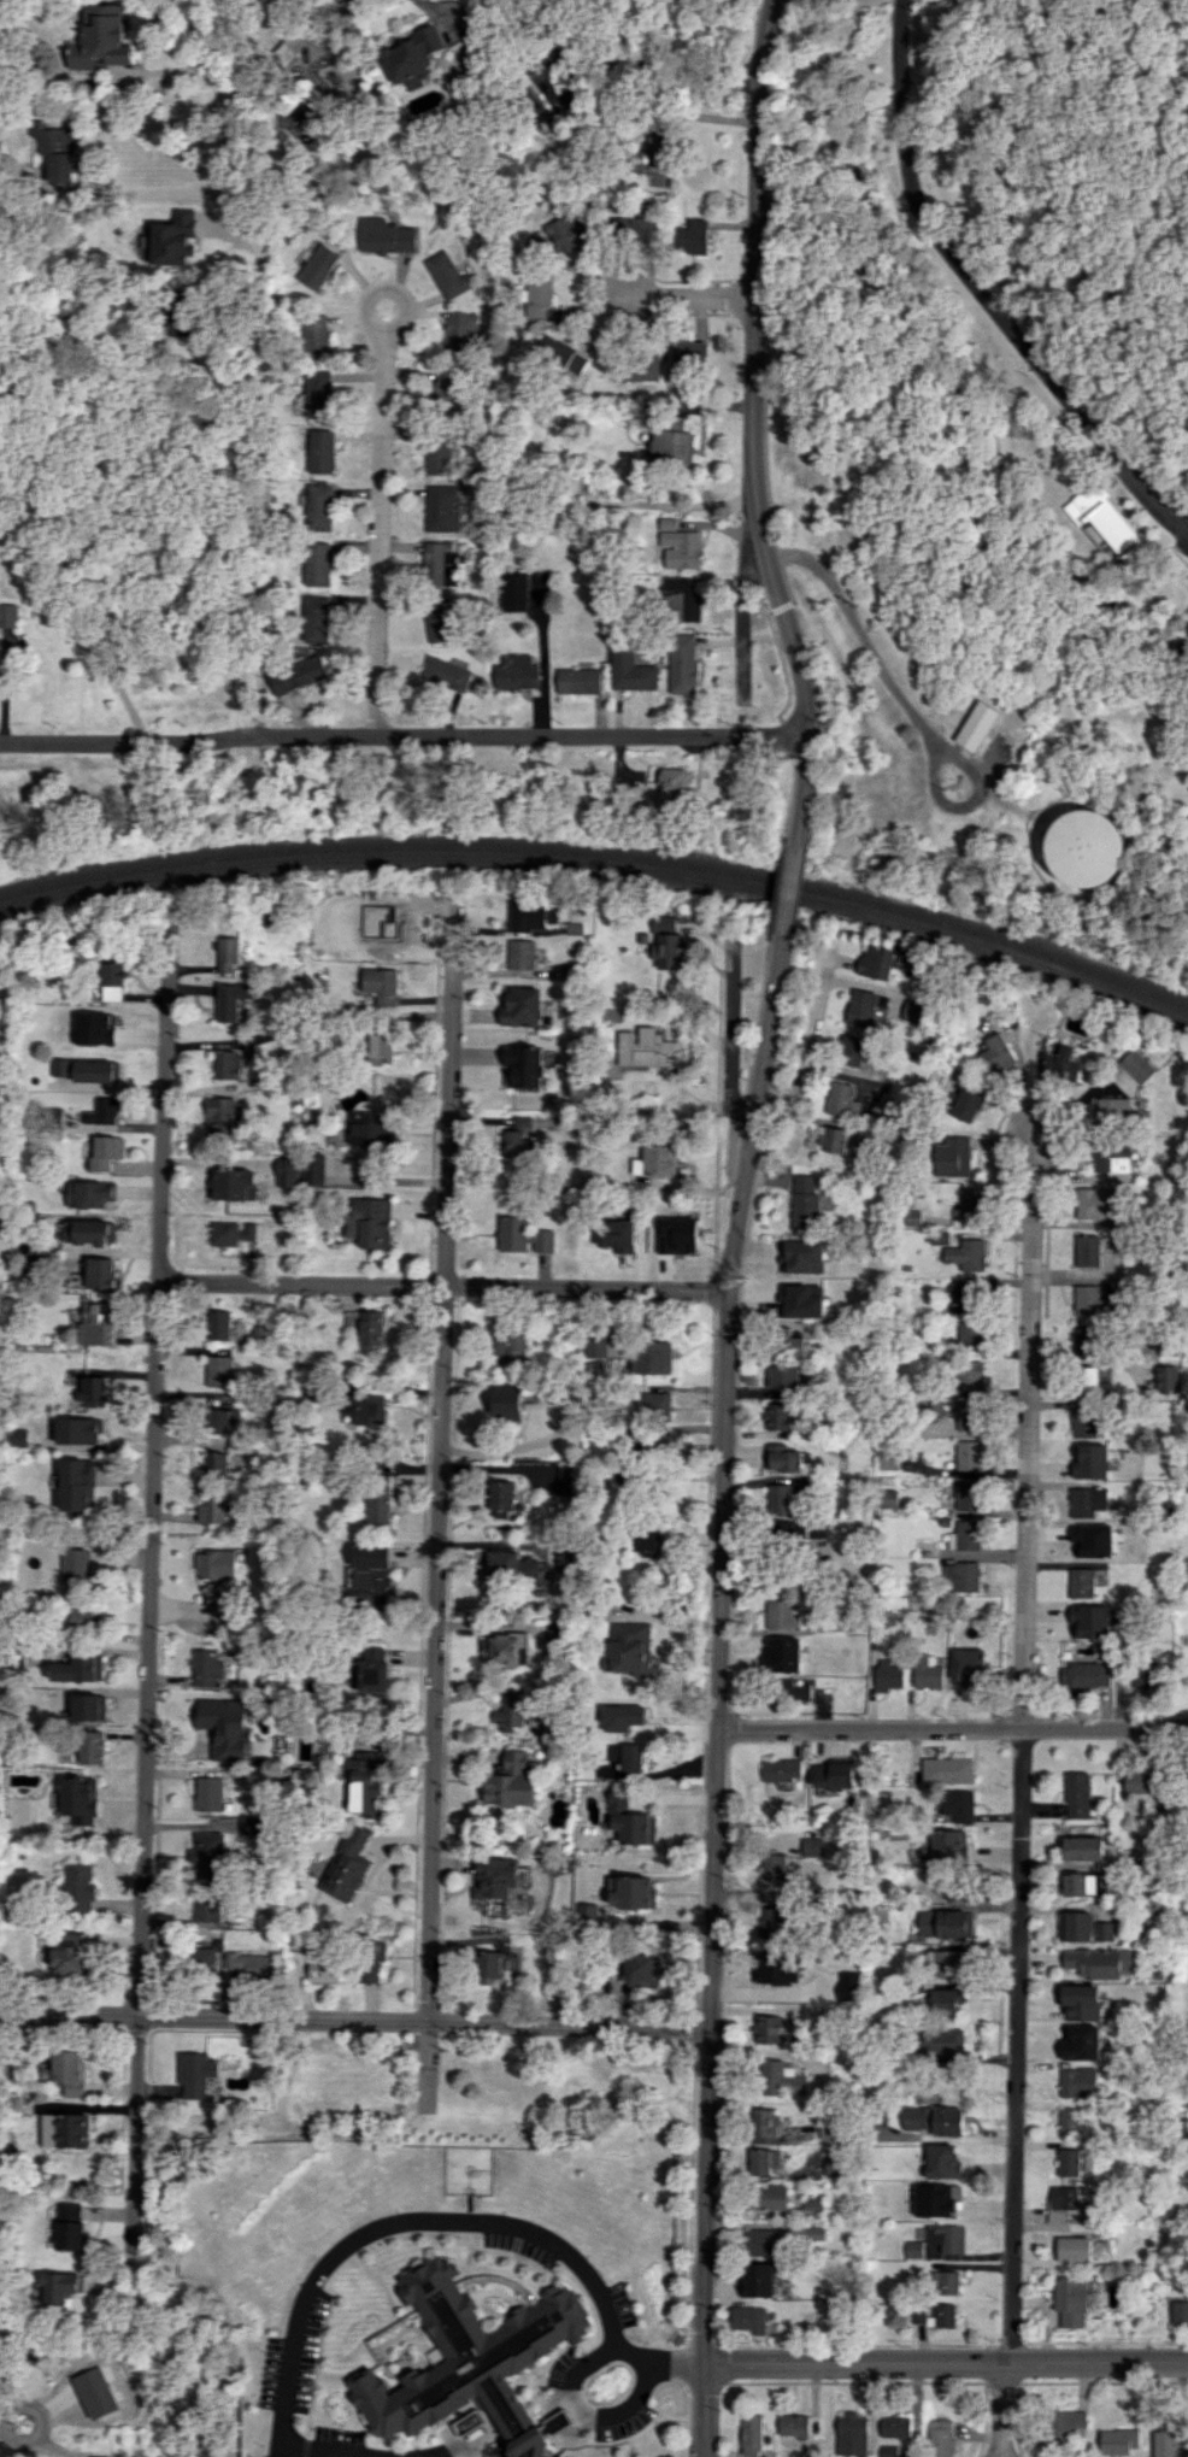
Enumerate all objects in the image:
building: (101, 39)
road: (219, 46)
building: (411, 54)
road: (660, 63)
road: (994, 95)
building: (58, 148)
building: (655, 154)
road: (141, 193)
building: (634, 228)
building: (569, 233)
building: (386, 236)
building: (693, 237)
building: (318, 265)
building: (446, 275)
road: (981, 290)
building: (537, 293)
road: (688, 296)
building: (180, 312)
road: (374, 321)
building: (460, 331)
building: (316, 336)
building: (689, 353)
building: (560, 354)
building: (448, 392)
building: (319, 394)
road: (752, 419)
building: (674, 445)
park: (998, 446)
road: (253, 448)
building: (323, 451)
building: (436, 458)
road: (689, 504)
building: (319, 507)
building: (442, 507)
building: (1107, 519)
road: (381, 530)
building: (680, 545)
building: (439, 563)
building: (319, 564)
building: (513, 590)
building: (683, 599)
building: (318, 618)
building: (439, 619)
building: (683, 663)
building: (631, 671)
building: (447, 672)
building: (517, 672)
building: (299, 675)
building: (580, 681)
road: (116, 686)
road: (4, 689)
road: (902, 705)
building: (976, 725)
road: (401, 734)
building: (674, 784)
building: (1086, 846)
railway: (602, 856)
railway: (602, 866)
road: (787, 901)
building: (530, 915)
building: (574, 928)
building: (666, 944)
building: (369, 946)
building: (521, 954)
building: (227, 956)
building: (876, 962)
building: (111, 981)
building: (381, 984)
building: (231, 1000)
building: (519, 1006)
building: (863, 1006)
building: (912, 1010)
building: (94, 1028)
road: (729, 1034)
road: (808, 1044)
building: (382, 1048)
building: (646, 1048)
building: (849, 1050)
building: (996, 1053)
building: (1060, 1063)
building: (228, 1065)
building: (1137, 1065)
building: (523, 1066)
building: (88, 1070)
building: (841, 1099)
building: (883, 1105)
building: (966, 1105)
building: (102, 1111)
building: (1113, 1112)
building: (51, 1117)
building: (225, 1118)
building: (369, 1129)
building: (842, 1142)
building: (518, 1145)
building: (106, 1152)
building: (1111, 1156)
building: (953, 1157)
building: (655, 1160)
building: (313, 1169)
building: (287, 1171)
road: (386, 1182)
building: (234, 1183)
building: (92, 1194)
building: (972, 1201)
building: (802, 1203)
building: (1094, 1203)
building: (912, 1217)
building: (371, 1222)
building: (89, 1232)
building: (233, 1233)
building: (617, 1235)
building: (523, 1236)
building: (1088, 1250)
building: (965, 1254)
building: (796, 1256)
building: (101, 1272)
road: (440, 1286)
building: (780, 1294)
building: (961, 1297)
building: (1090, 1301)
building: (98, 1323)
building: (219, 1324)
building: (372, 1332)
building: (970, 1335)
building: (1084, 1339)
building: (788, 1342)
building: (600, 1344)
building: (510, 1345)
building: (651, 1357)
building: (220, 1370)
building: (970, 1375)
building: (783, 1376)
building: (1166, 1379)
building: (1088, 1381)
building: (92, 1391)
building: (507, 1401)
building: (657, 1405)
building: (366, 1409)
building: (968, 1415)
building: (777, 1416)
building: (225, 1421)
building: (1083, 1422)
building: (78, 1430)
building: (18, 1436)
building: (969, 1454)
building: (782, 1458)
building: (887, 1458)
building: (225, 1462)
building: (1092, 1462)
building: (565, 1479)
building: (77, 1485)
building: (966, 1494)
building: (777, 1498)
building: (887, 1498)
building: (504, 1499)
building: (1087, 1501)
building: (378, 1503)
road: (439, 1507)
building: (213, 1509)
building: (789, 1533)
building: (964, 1535)
building: (647, 1541)
building: (1083, 1541)
building: (1127, 1545)
building: (217, 1564)
building: (505, 1564)
building: (73, 1565)
building: (371, 1575)
building: (960, 1576)
building: (1081, 1582)
road: (147, 1598)
building: (780, 1613)
building: (86, 1620)
building: (629, 1647)
building: (506, 1650)
building: (784, 1654)
building: (964, 1659)
road: (717, 1664)
building: (206, 1667)
building: (80, 1669)
building: (375, 1670)
building: (927, 1670)
building: (887, 1675)
building: (1084, 1675)
building: (1145, 1676)
building: (790, 1689)
building: (89, 1706)
building: (512, 1712)
building: (621, 1717)
building: (224, 1726)
road: (951, 1729)
road: (1021, 1745)
building: (92, 1746)
building: (625, 1756)
building: (781, 1769)
building: (947, 1769)
building: (834, 1774)
building: (1139, 1781)
building: (510, 1782)
building: (365, 1783)
building: (208, 1793)
building: (1076, 1794)
building: (80, 1799)
building: (957, 1805)
building: (629, 1818)
building: (252, 1824)
building: (949, 1845)
building: (1082, 1848)
building: (208, 1854)
building: (348, 1864)
building: (774, 1865)
building: (494, 1877)
building: (1086, 1883)
building: (80, 1888)
building: (633, 1892)
building: (206, 1910)
building: (586, 1917)
building: (770, 1922)
building: (945, 1923)
building: (1083, 1927)
building: (70, 1953)
building: (371, 1959)
building: (202, 1962)
building: (495, 1963)
building: (943, 1963)
building: (1093, 1963)
building: (253, 1964)
building: (323, 1965)
building: (639, 1969)
building: (769, 1979)
building: (945, 2000)
building: (1080, 2002)
road: (354, 2020)
building: (766, 2029)
building: (941, 2041)
building: (1080, 2042)
building: (69, 2071)
building: (196, 2073)
building: (781, 2079)
building: (1077, 2082)
building: (934, 2120)
building: (764, 2122)
building: (1070, 2123)
building: (65, 2130)
building: (764, 2161)
building: (942, 2162)
building: (1068, 2162)
building: (833, 2164)
building: (772, 2197)
building: (1063, 2197)
building: (812, 2206)
road: (440, 2221)
building: (71, 2227)
building: (814, 2233)
building: (946, 2238)
building: (761, 2241)
building: (912, 2249)
building: (1074, 2249)
building: (758, 2280)
building: (945, 2282)
building: (60, 2286)
building: (1071, 2300)
building: (1180, 2312)
building: (933, 2315)
building: (749, 2318)
parking lot: (293, 2353)
building: (467, 2355)
road: (946, 2363)
building: (94, 2392)
road: (702, 2410)
road: (1002, 2412)
road: (578, 2415)
road: (42, 2422)
building: (793, 2424)
building: (894, 2426)
building: (1066, 2426)
building: (851, 2434)
parking lot: (337, 2435)
building: (751, 2435)
building: (939, 2438)
building: (1118, 2440)
road: (1006, 2441)
building: (1168, 2443)
building: (528, 2444)
building: (893, 2450)
road: (307, 2453)
road: (436, 2455)

